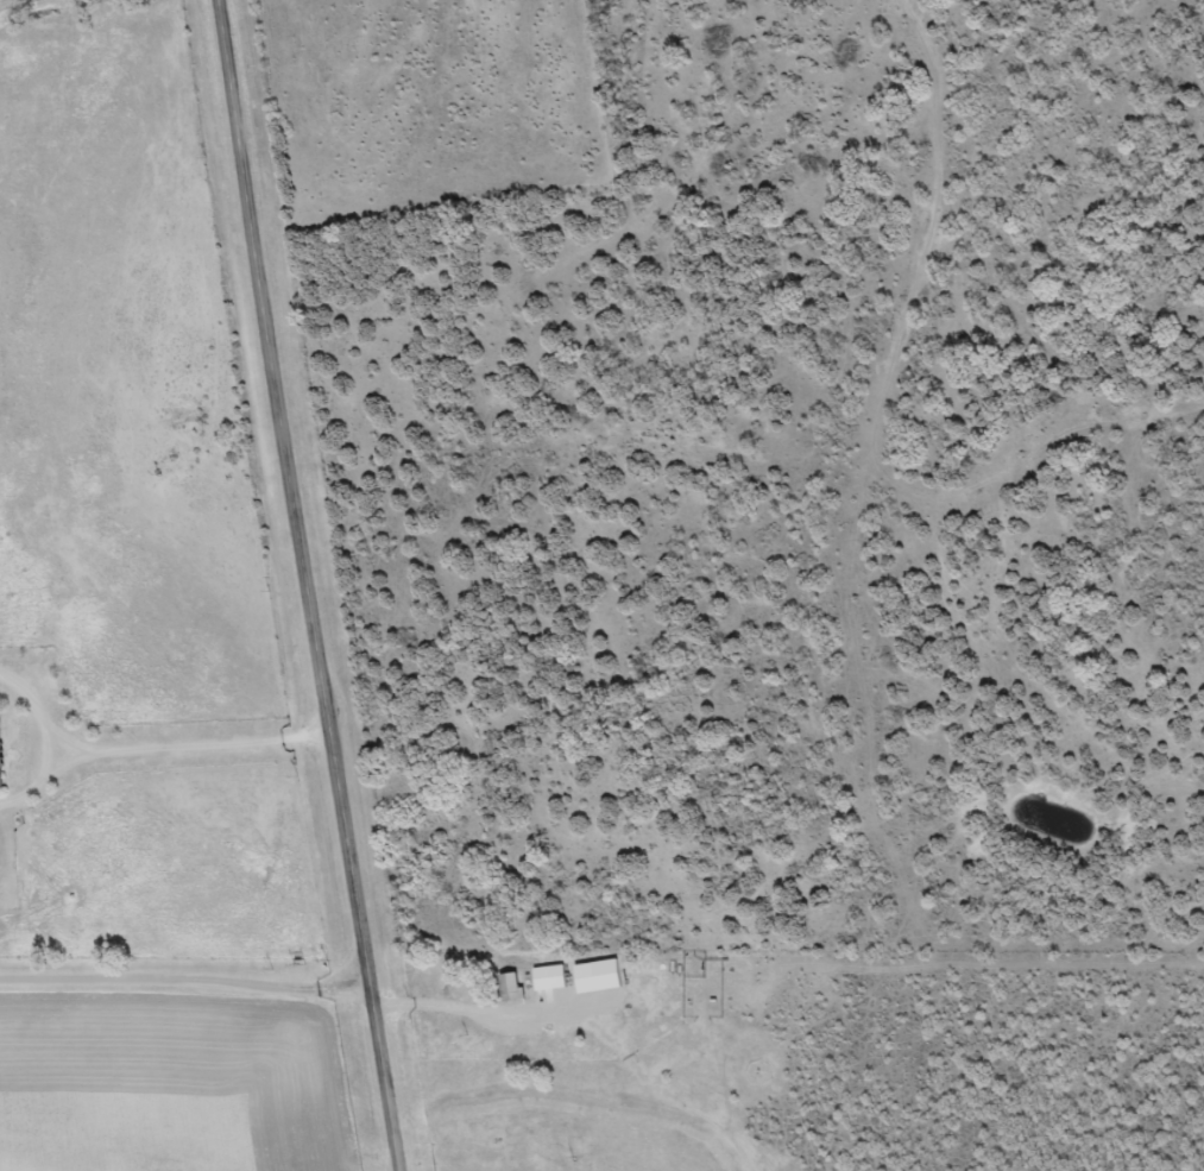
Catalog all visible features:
road: (307, 585)
building: (0, 780)
road: (183, 950)
building: (548, 980)
building: (509, 988)

